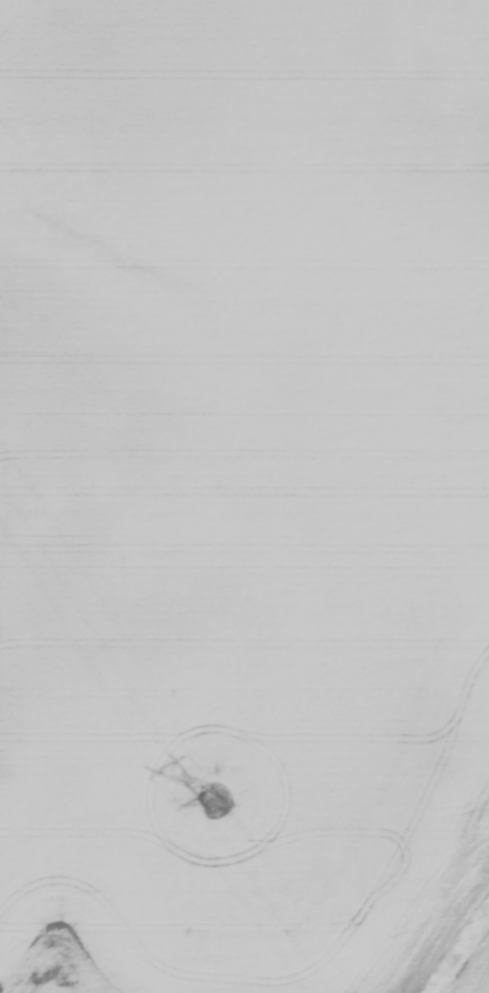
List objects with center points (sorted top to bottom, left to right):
power tower: (212, 801)

